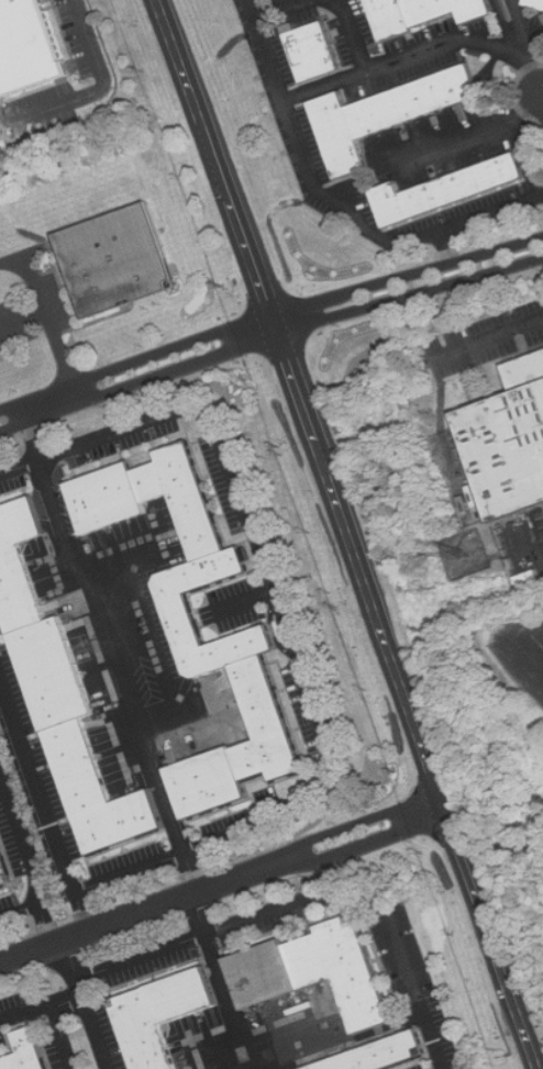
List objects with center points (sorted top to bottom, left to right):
building: (536, 3)
road: (280, 9)
building: (426, 12)
road: (453, 41)
road: (535, 43)
road: (527, 45)
building: (27, 48)
building: (315, 52)
road: (359, 71)
road: (95, 90)
building: (387, 114)
road: (452, 141)
road: (313, 183)
road: (539, 185)
building: (451, 186)
building: (115, 259)
road: (268, 325)
road: (491, 334)
road: (55, 336)
building: (509, 441)
road: (19, 465)
building: (118, 493)
building: (193, 500)
road: (348, 534)
road: (536, 549)
building: (21, 564)
road: (271, 589)
building: (180, 606)
road: (114, 648)
building: (56, 672)
building: (267, 723)
building: (211, 781)
building: (101, 792)
road: (44, 806)
road: (432, 810)
road: (351, 824)
road: (357, 847)
road: (30, 861)
building: (5, 868)
road: (130, 871)
road: (313, 903)
road: (143, 910)
road: (19, 911)
road: (73, 964)
building: (317, 970)
road: (223, 980)
road: (41, 1002)
building: (164, 1014)
road: (97, 1028)
road: (58, 1035)
building: (27, 1050)
building: (380, 1054)

